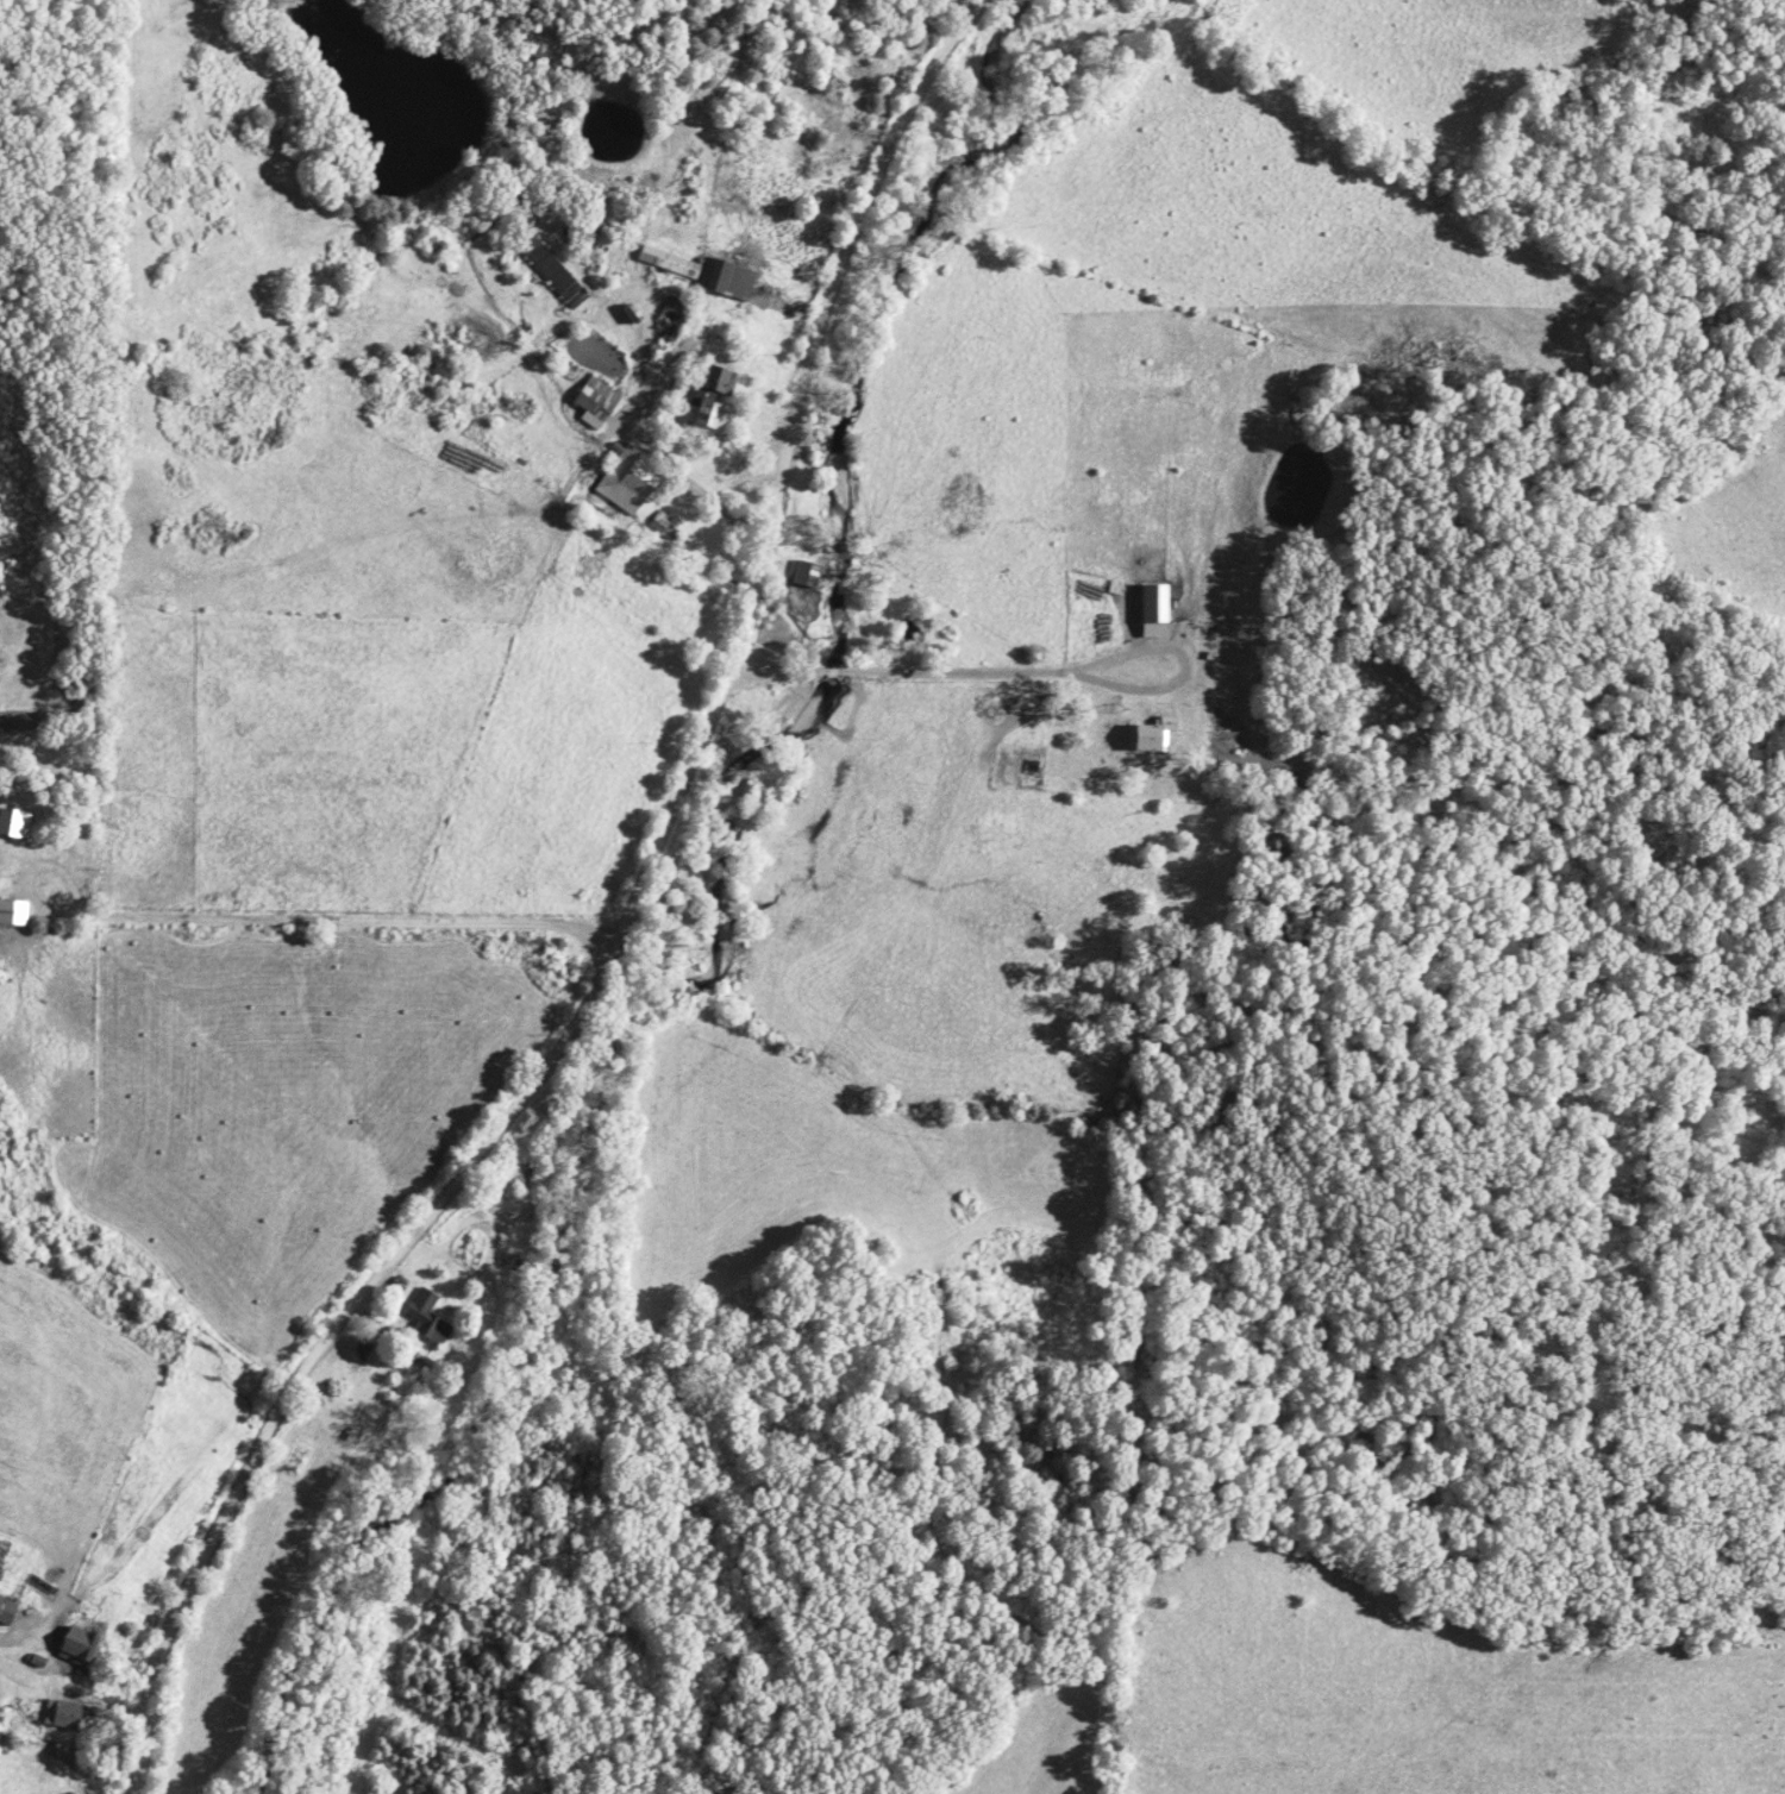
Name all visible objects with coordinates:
building: (669, 263)
building: (551, 271)
building: (733, 283)
building: (672, 316)
building: (716, 382)
building: (595, 402)
building: (707, 418)
road: (644, 454)
building: (610, 479)
building: (663, 526)
building: (804, 575)
building: (1154, 613)
building: (1150, 736)
building: (10, 824)
building: (13, 914)
road: (267, 923)
road: (613, 927)
road: (388, 1280)
building: (426, 1319)
building: (6, 1611)
building: (77, 1644)
road: (5, 1652)
building: (61, 1715)

